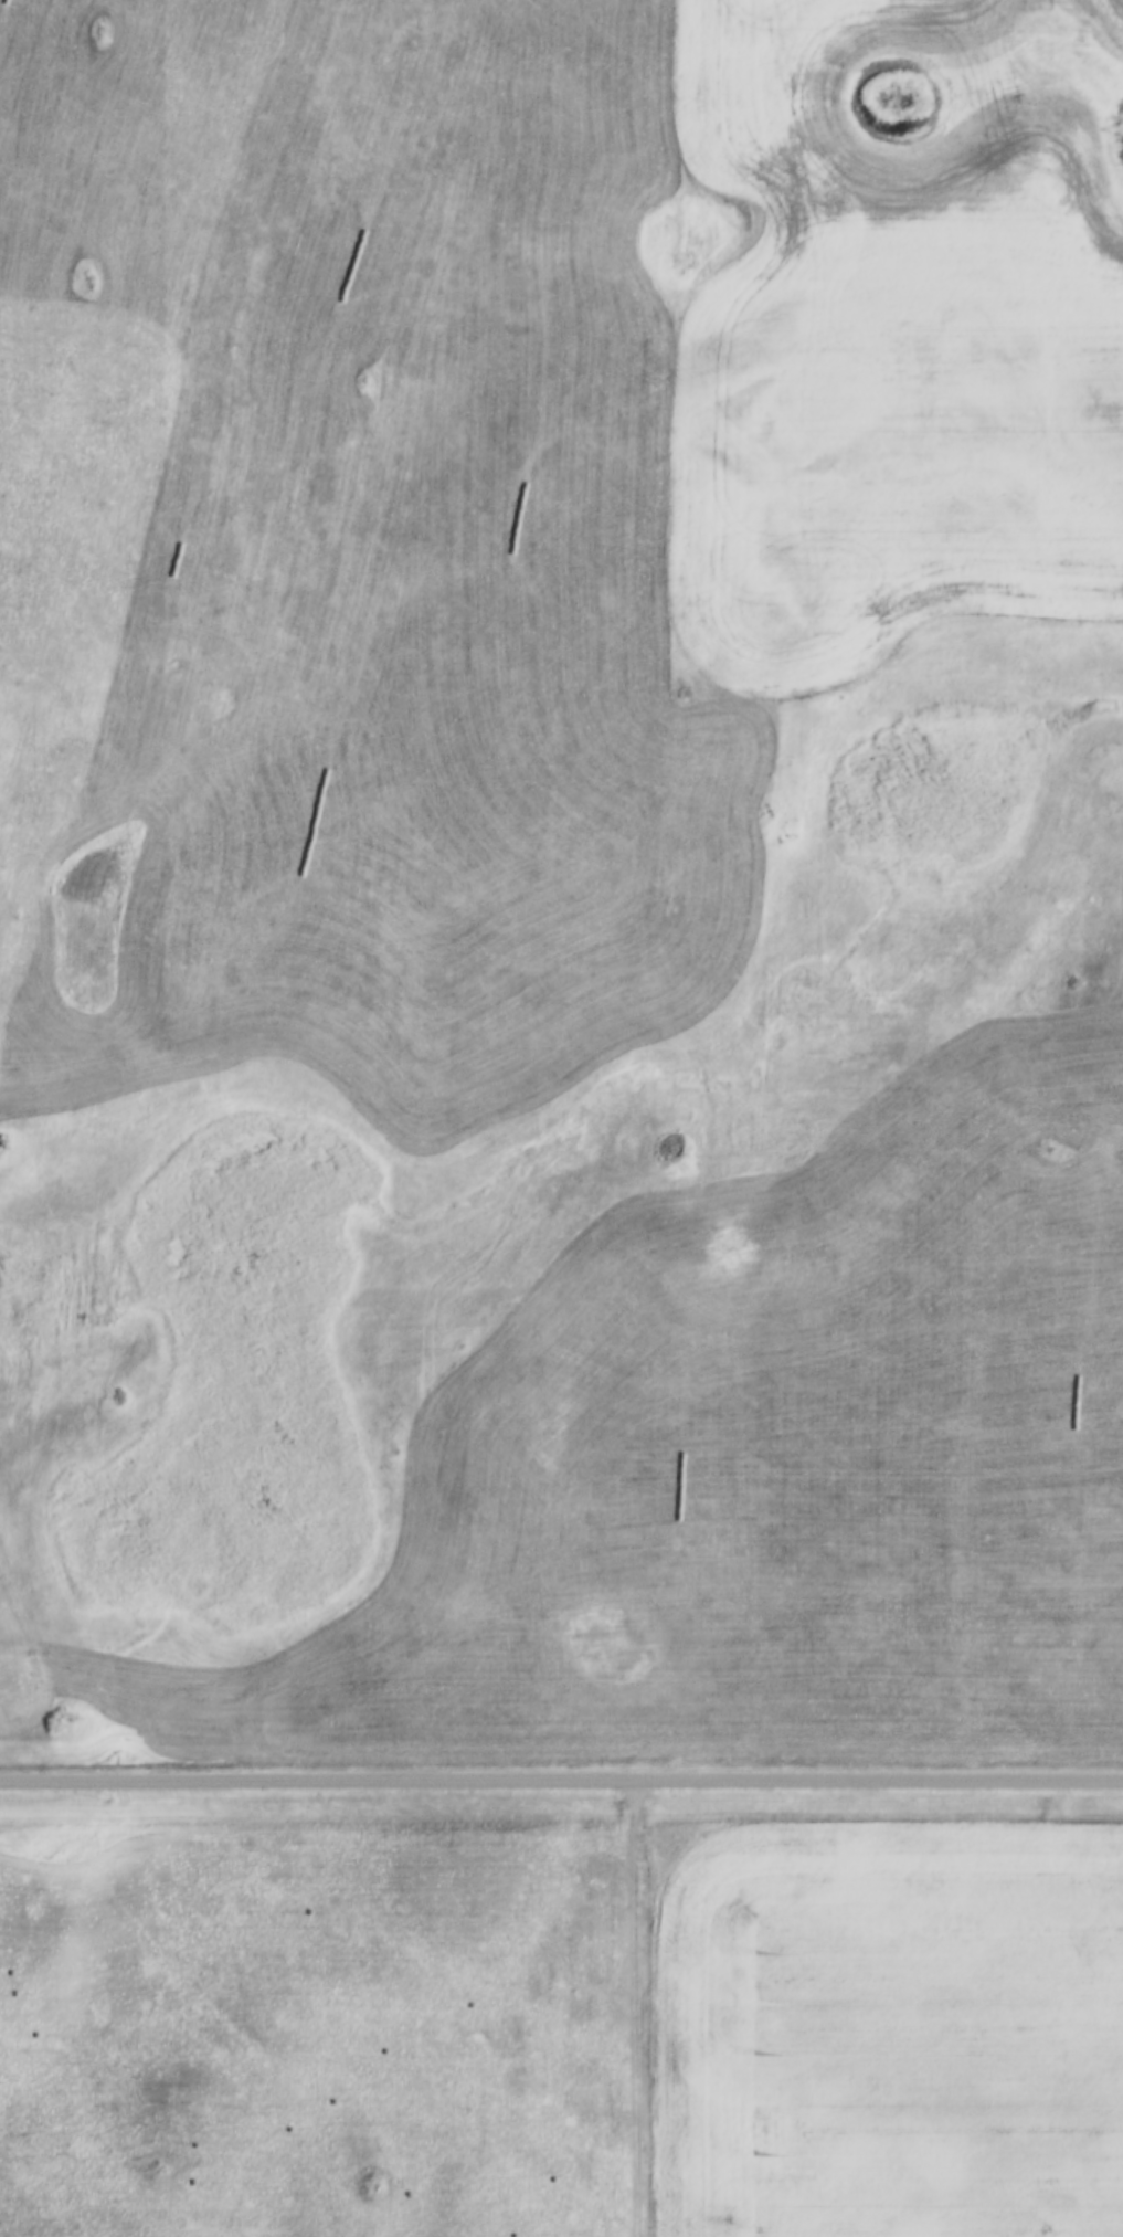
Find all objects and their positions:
road: (561, 1779)

